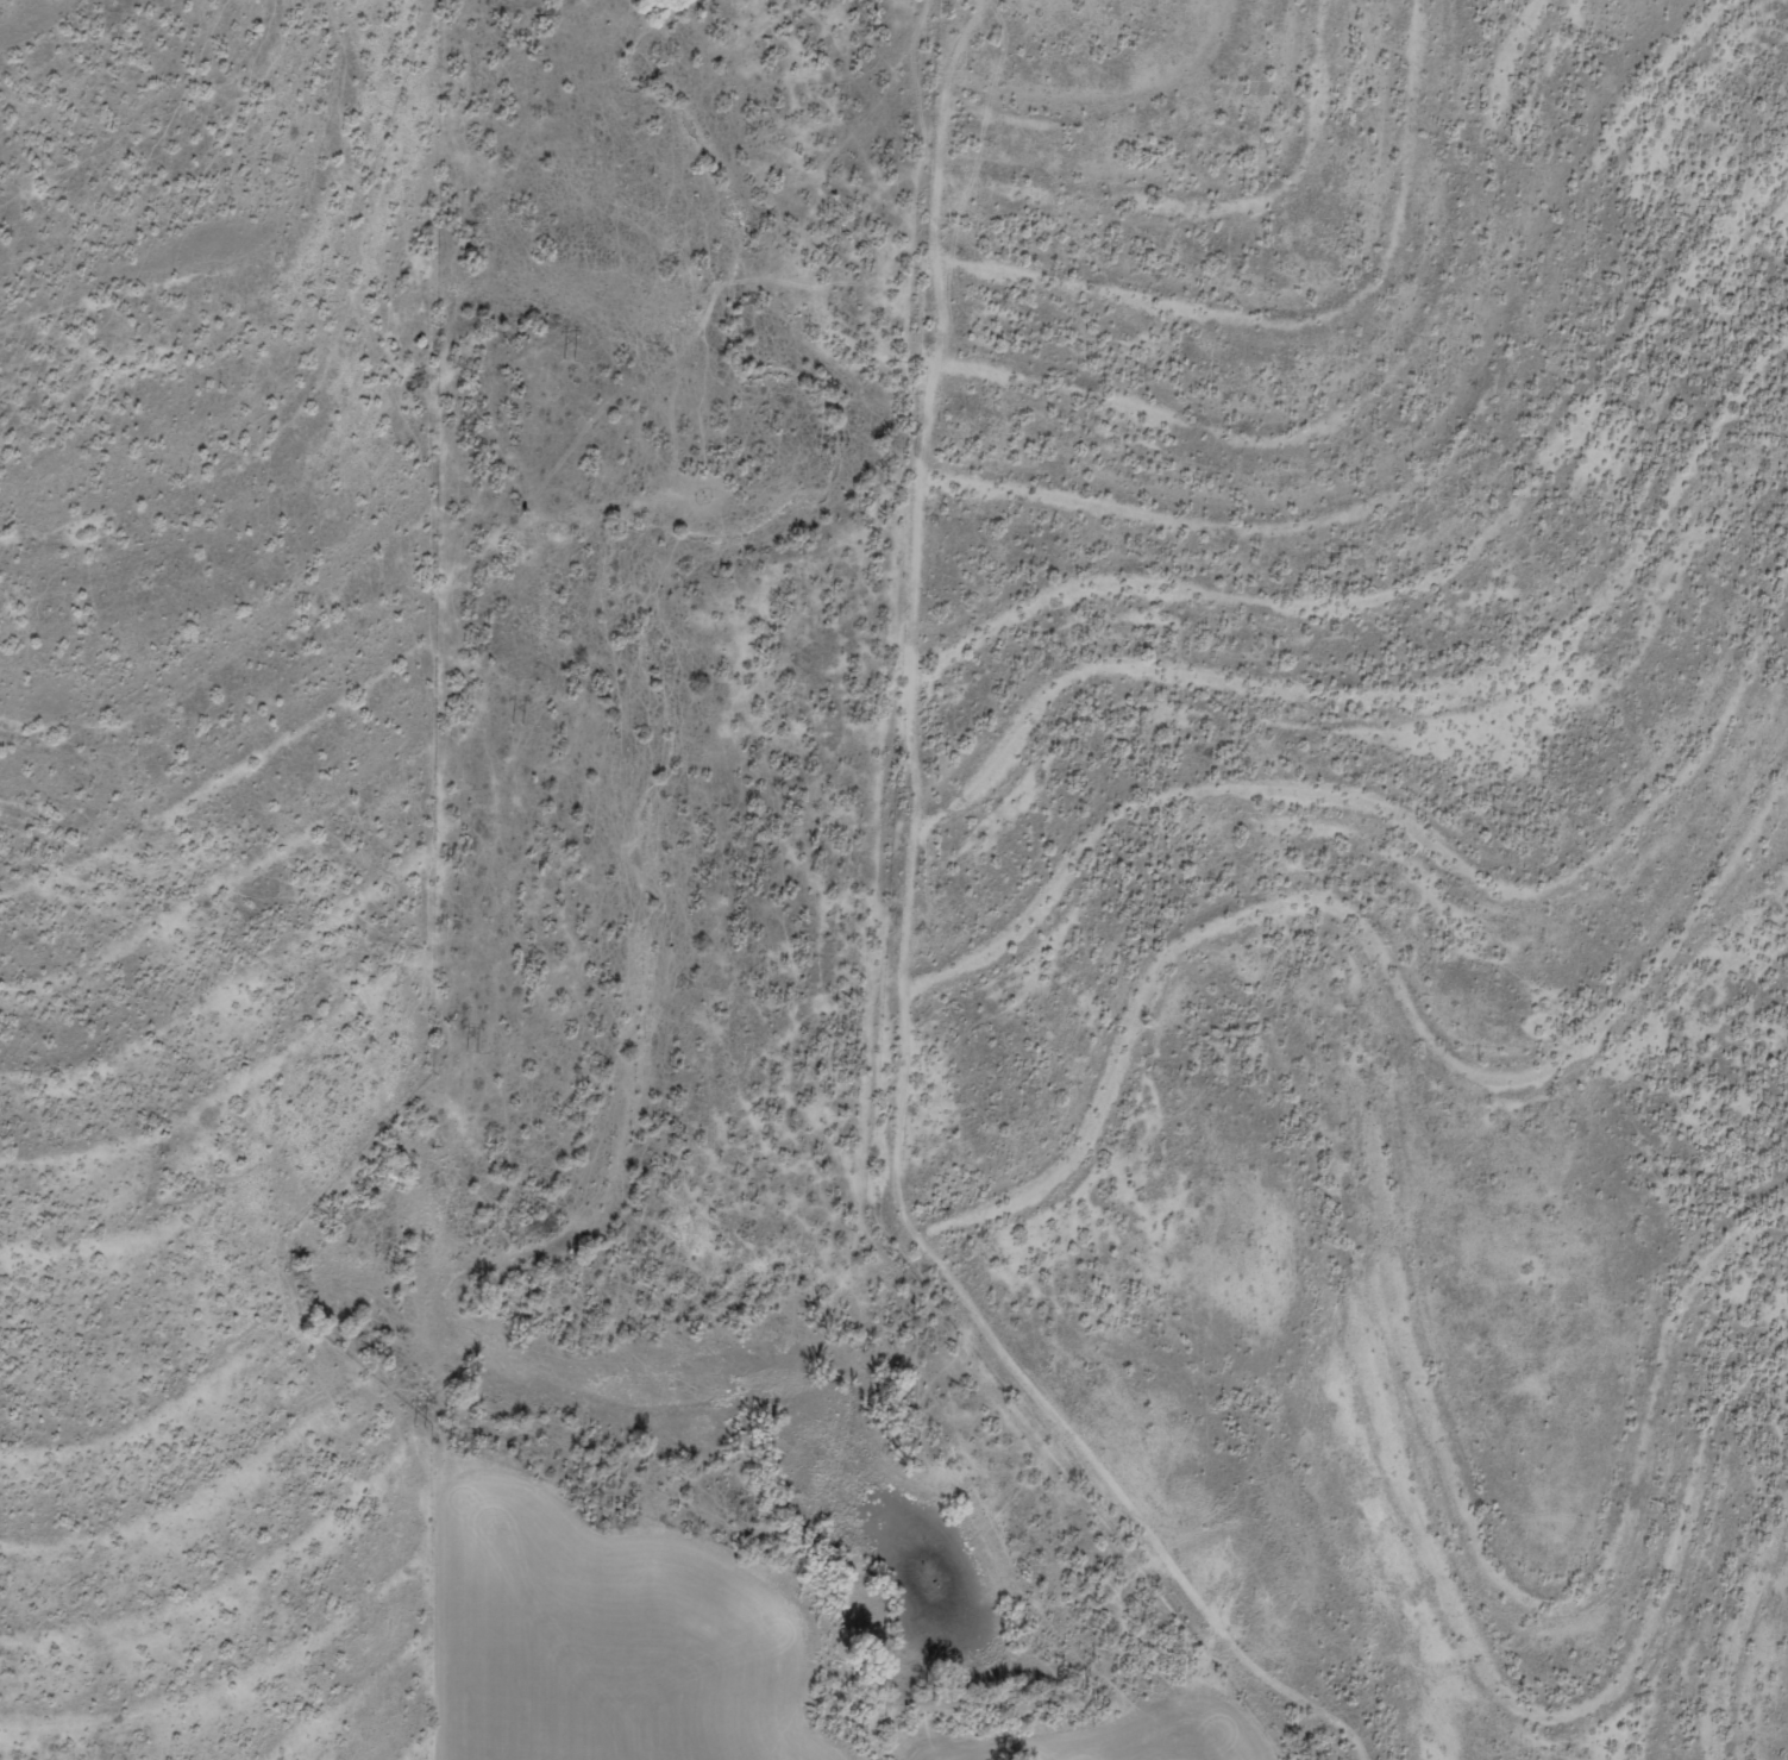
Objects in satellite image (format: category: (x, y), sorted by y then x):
power tower: (569, 361)
power tower: (516, 725)
power tower: (471, 1053)
power tower: (419, 1429)

